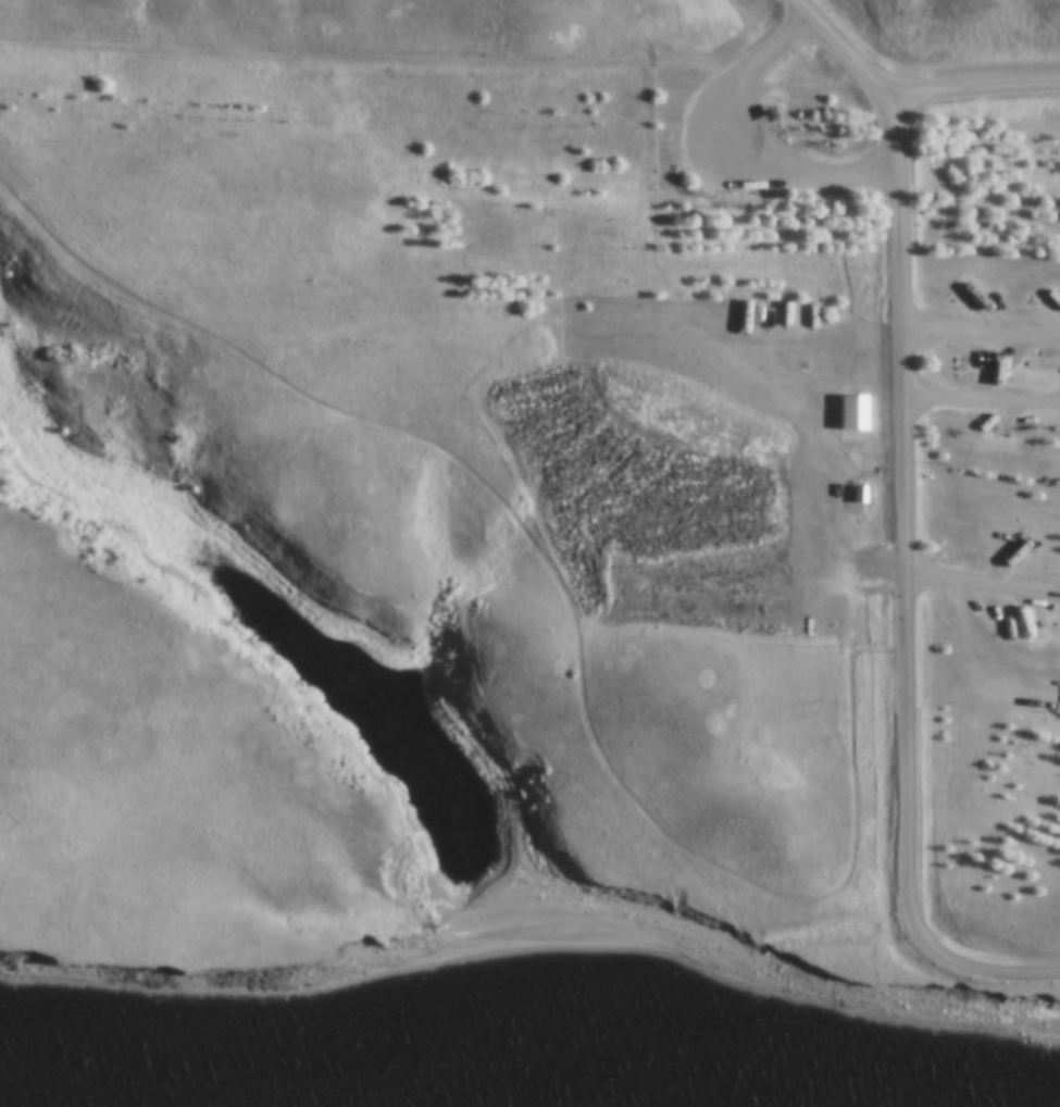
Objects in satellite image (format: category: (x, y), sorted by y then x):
road: (377, 59)
road: (908, 101)
road: (741, 149)
building: (981, 308)
road: (982, 337)
building: (998, 360)
road: (982, 403)
building: (858, 495)
road: (983, 587)
road: (907, 597)

